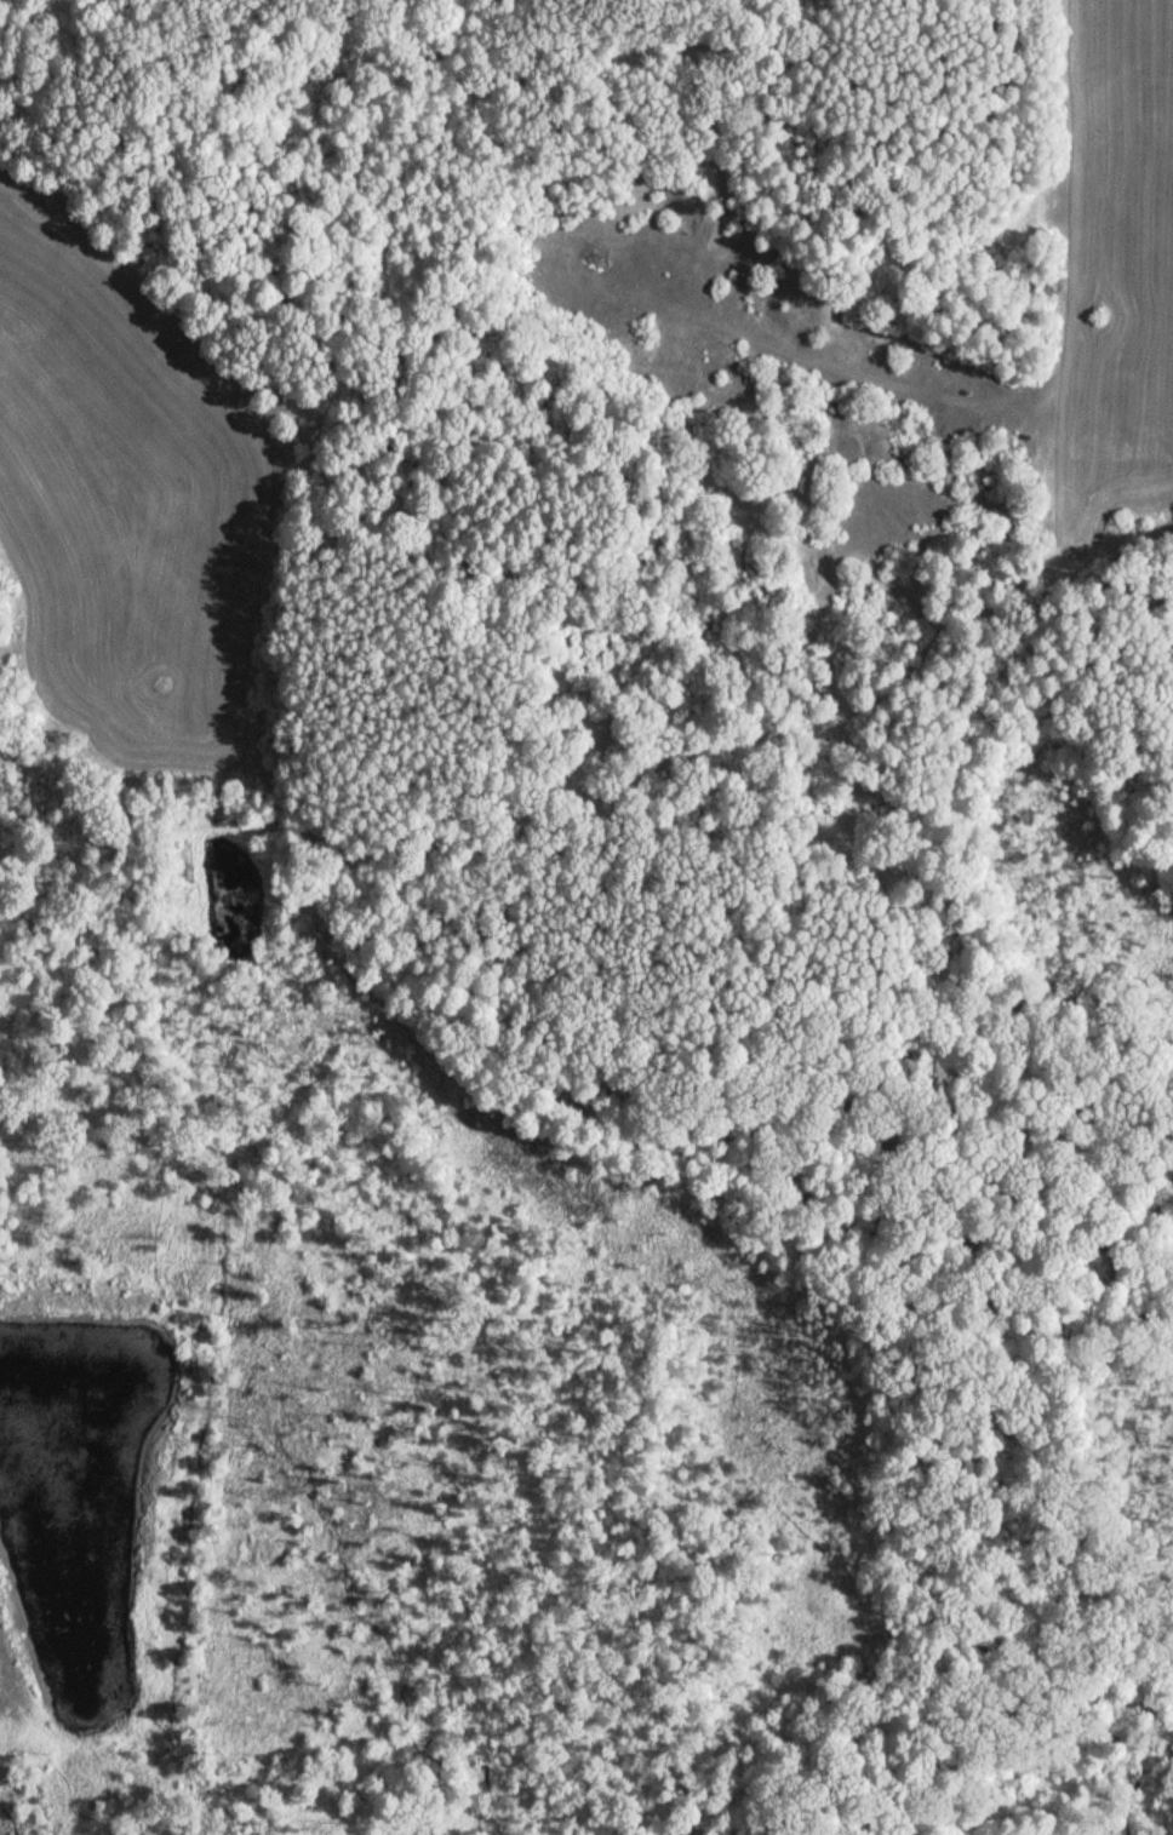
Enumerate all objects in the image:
quarry: (622, 288)
road: (1036, 374)

